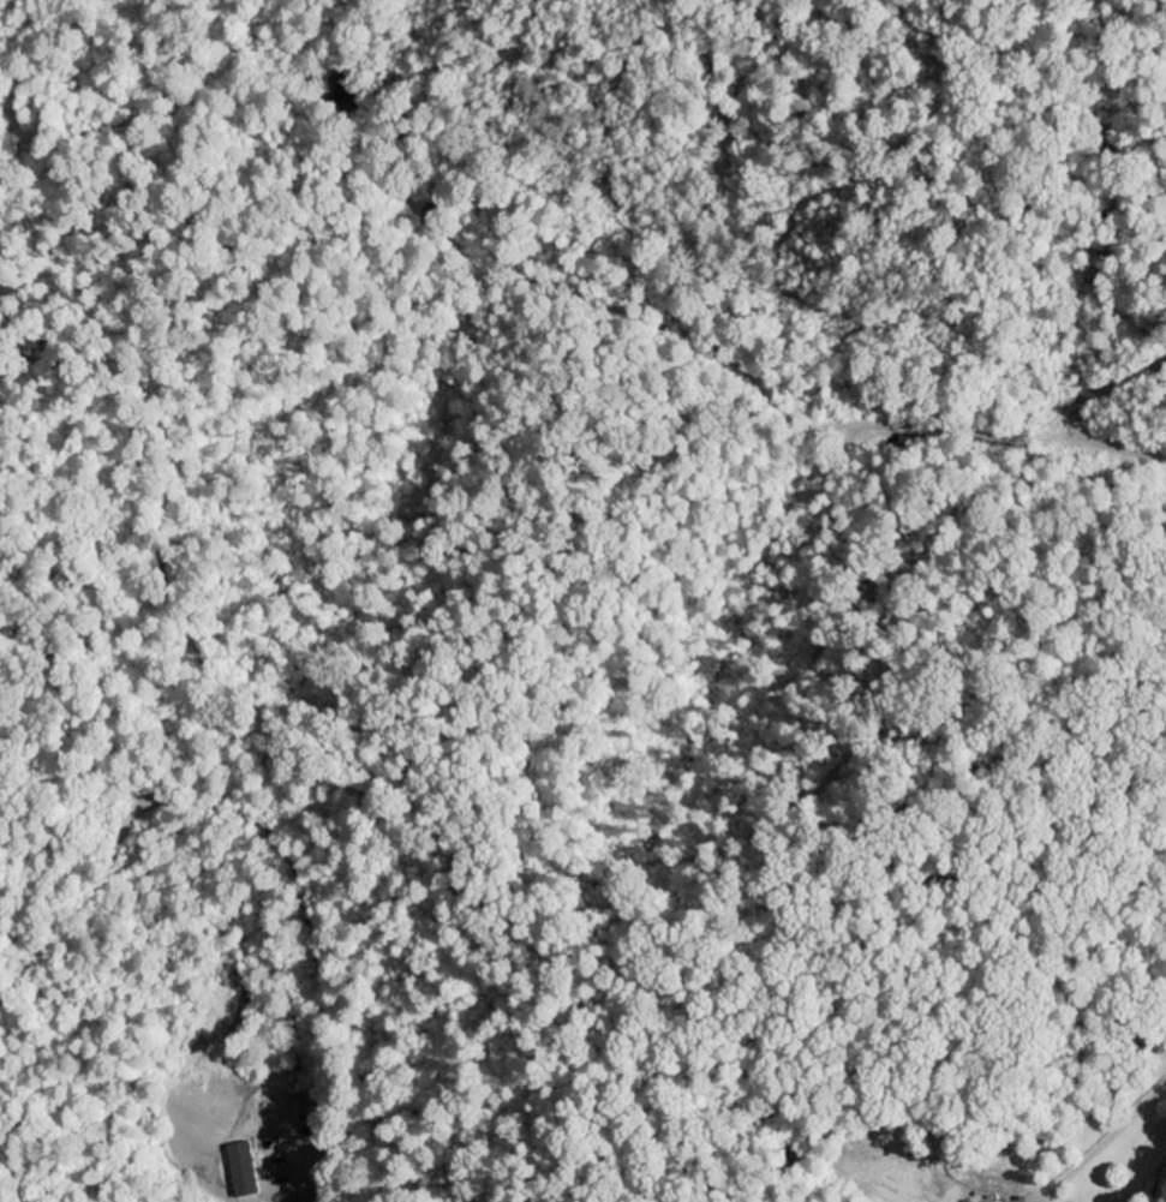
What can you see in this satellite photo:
building: (240, 1170)
road: (1152, 1177)

